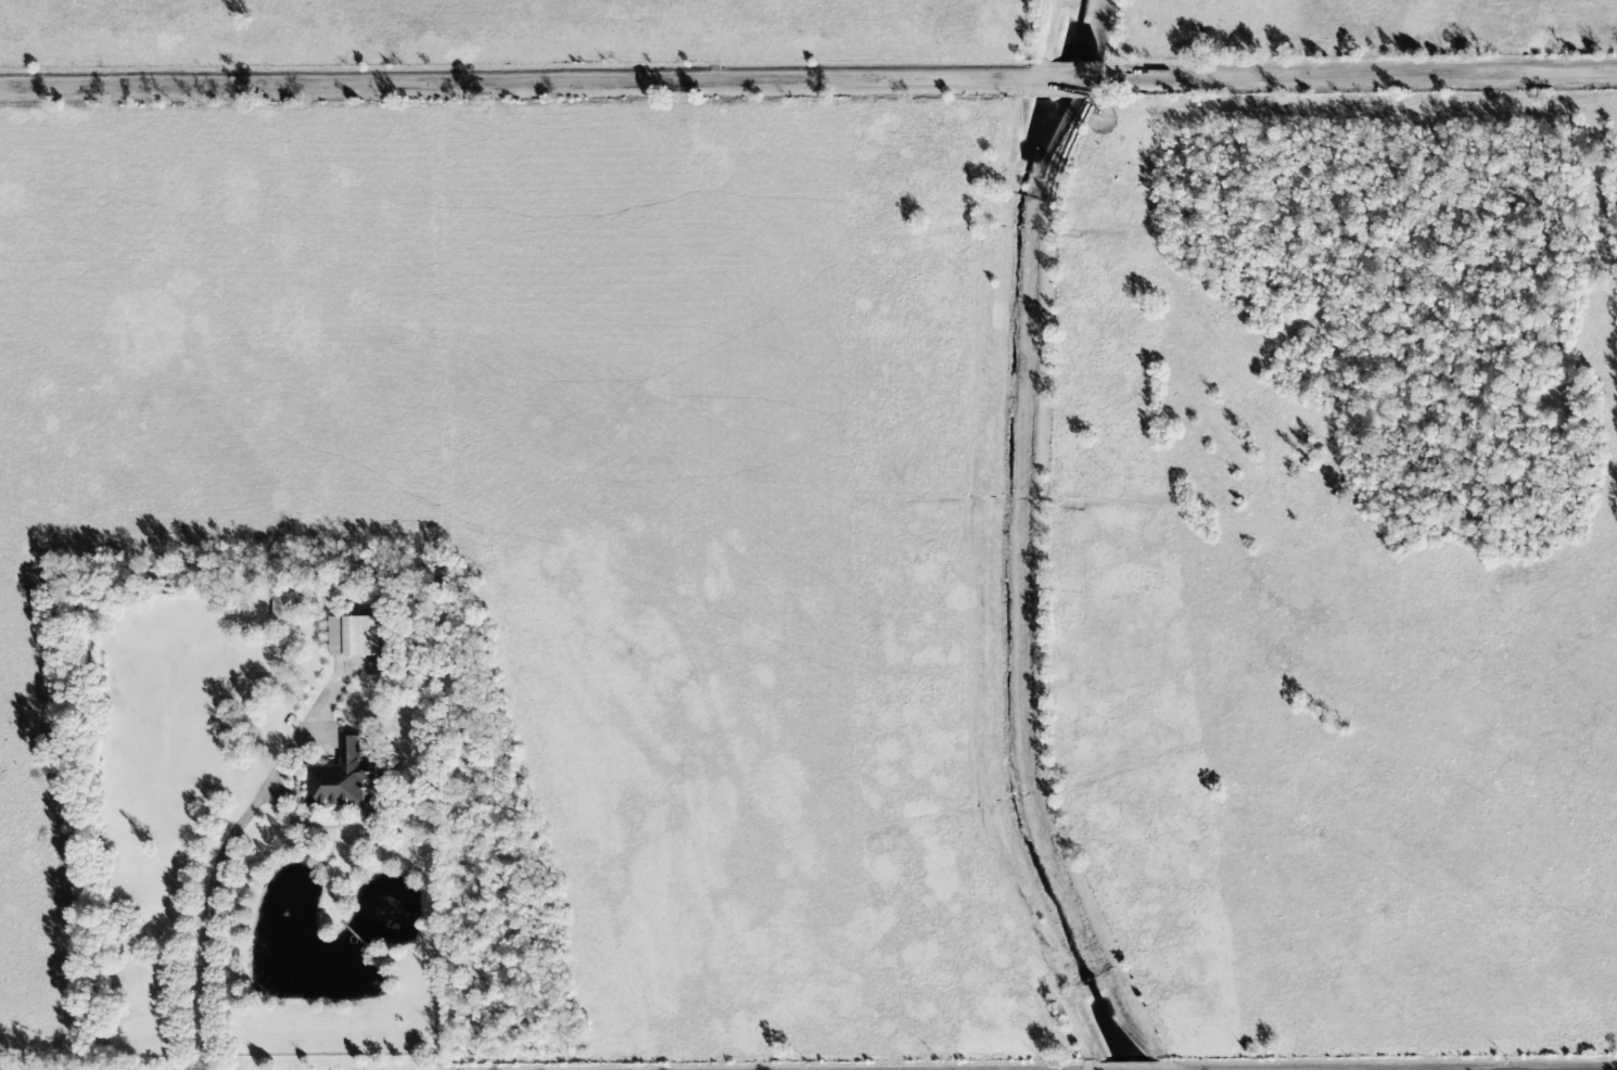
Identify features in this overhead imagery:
road: (807, 76)
building: (354, 636)
building: (340, 778)

